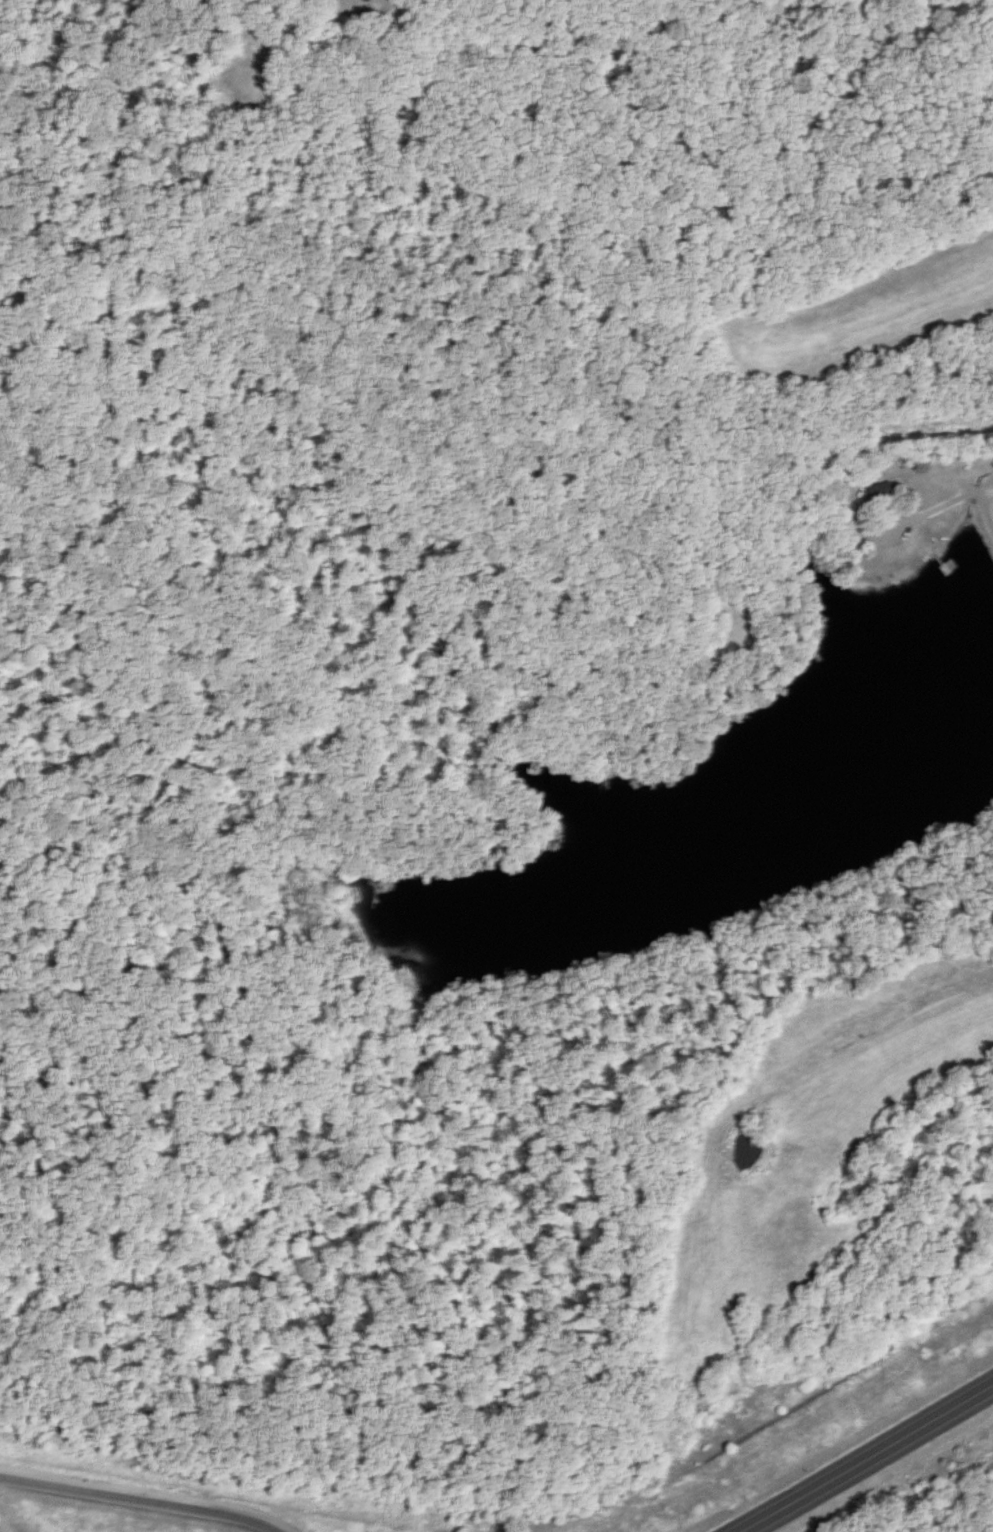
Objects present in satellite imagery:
road: (991, 488)
road: (990, 498)
road: (927, 512)
road: (869, 1458)
road: (143, 1496)

